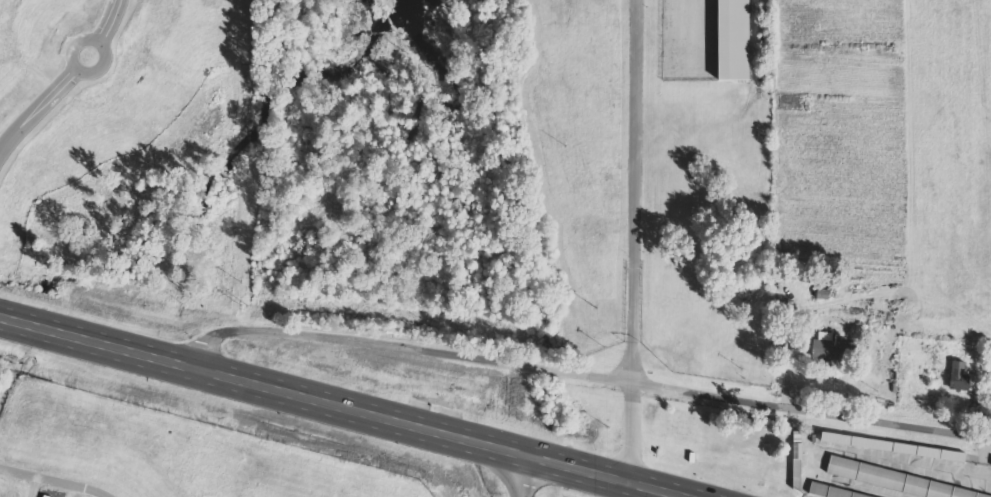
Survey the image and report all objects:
building: (737, 40)
road: (63, 77)
road: (631, 240)
building: (831, 344)
road: (583, 374)
building: (964, 377)
road: (342, 407)
building: (895, 447)
airport: (155, 453)
road: (522, 475)
building: (898, 481)

